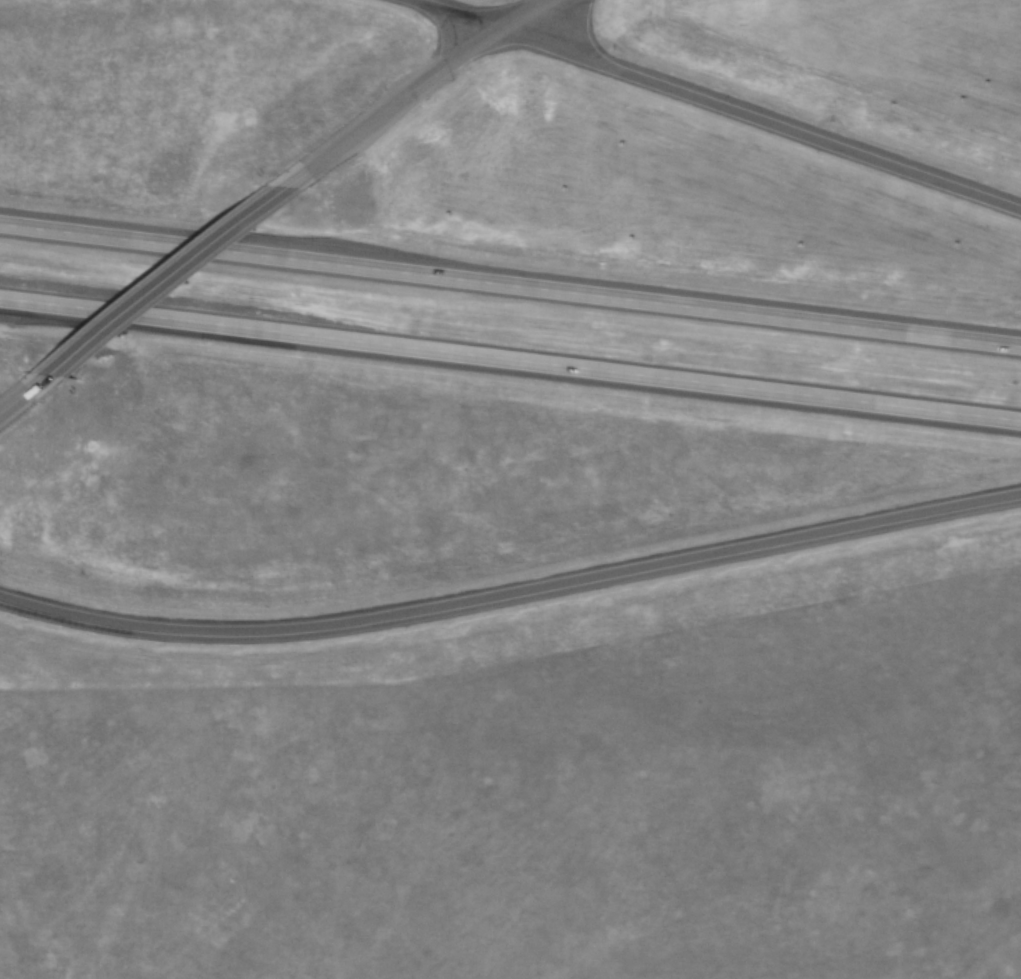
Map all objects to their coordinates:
road: (443, 16)
road: (519, 16)
road: (388, 108)
road: (757, 123)
road: (166, 280)
road: (510, 286)
road: (510, 360)
road: (23, 392)
road: (511, 596)

